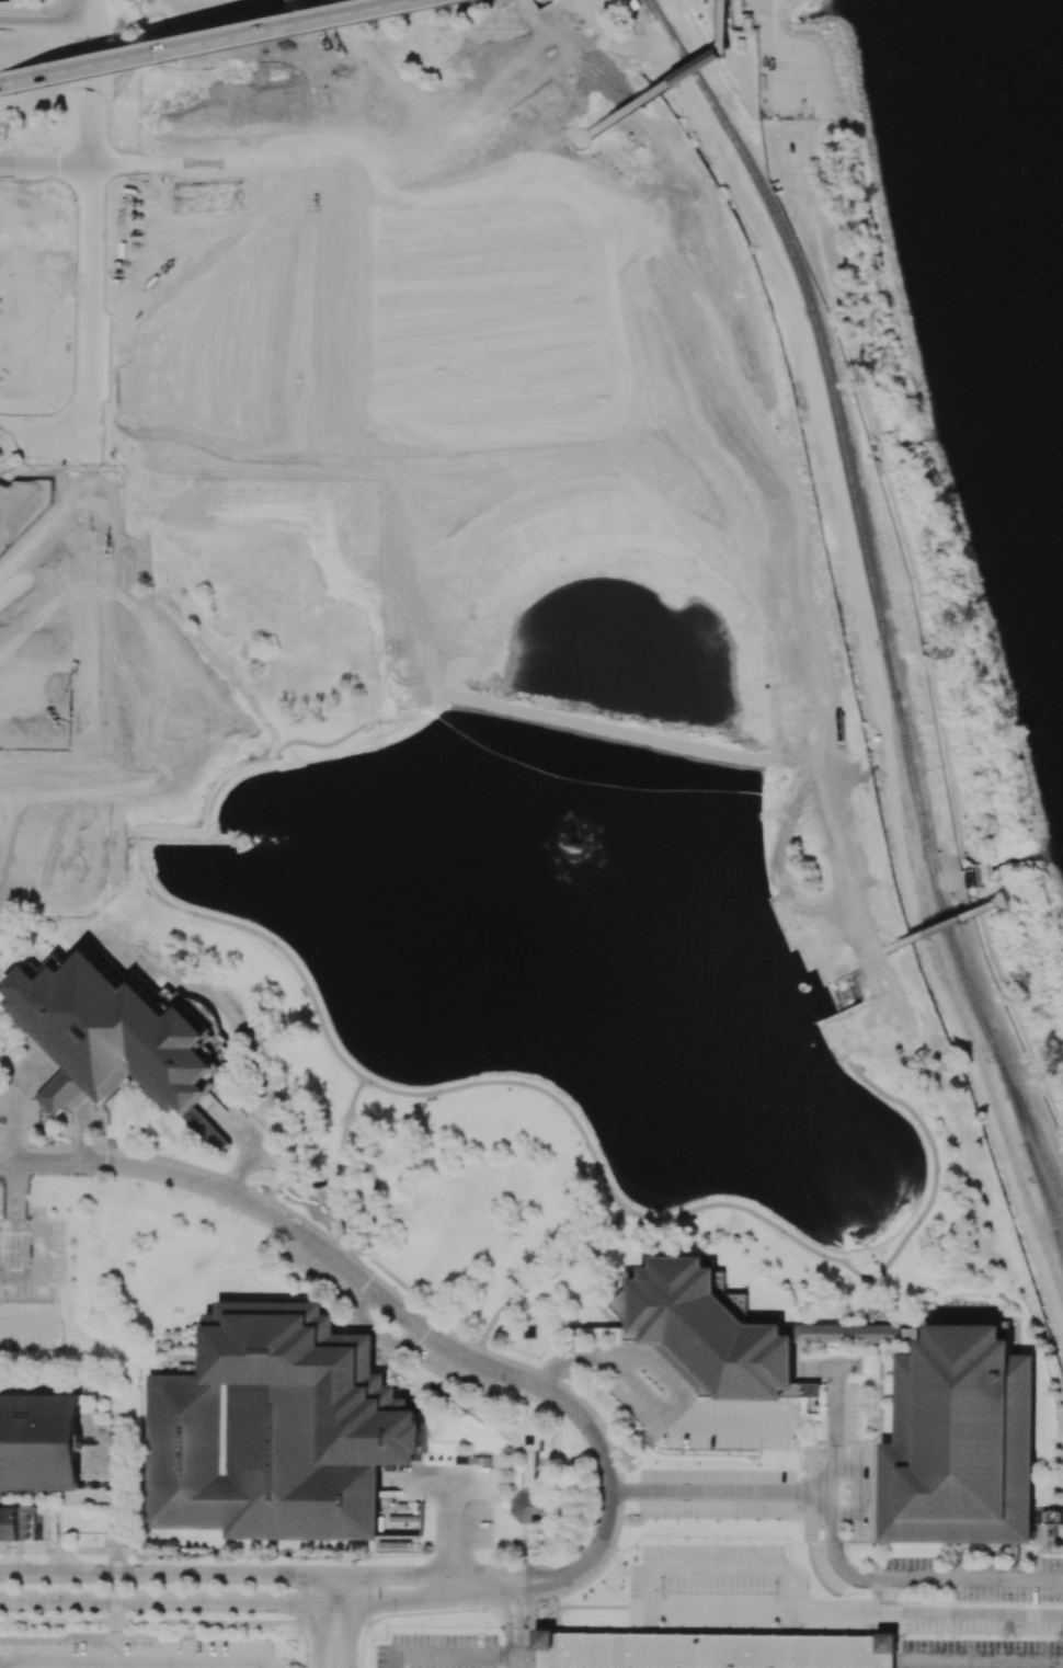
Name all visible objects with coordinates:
road: (175, 1)
street lamp: (468, 3)
parking lot: (152, 8)
parking lot: (217, 10)
railway: (653, 11)
road: (42, 14)
building: (750, 20)
road: (727, 24)
road: (570, 25)
street lamp: (307, 35)
road: (214, 42)
road: (87, 43)
railway: (674, 44)
road: (636, 45)
road: (725, 49)
park: (776, 58)
street lamp: (165, 64)
building: (700, 65)
road: (700, 65)
railway: (690, 70)
street lamp: (46, 92)
road: (632, 107)
building: (382, 117)
road: (92, 124)
road: (585, 130)
road: (575, 132)
road: (573, 137)
road: (583, 148)
road: (47, 162)
road: (94, 170)
building: (33, 238)
road: (94, 239)
park: (55, 295)
road: (94, 334)
railway: (821, 345)
road: (35, 409)
building: (7, 499)
building: (10, 537)
building: (78, 692)
railway: (904, 746)
road: (833, 822)
fountain: (573, 846)
road: (782, 890)
road: (869, 919)
road: (856, 926)
road: (946, 926)
road: (265, 936)
railway: (953, 953)
road: (875, 957)
railway: (948, 976)
road: (875, 984)
road: (858, 1012)
road: (834, 1017)
road: (882, 1018)
building: (113, 1033)
road: (835, 1043)
parking lot: (14, 1081)
road: (525, 1083)
road: (64, 1089)
road: (355, 1092)
building: (60, 1093)
road: (16, 1098)
road: (24, 1121)
road: (235, 1122)
parking lot: (93, 1124)
railway: (1029, 1124)
road: (82, 1131)
road: (339, 1143)
road: (11, 1149)
railway: (1030, 1151)
road: (271, 1159)
road: (936, 1159)
road: (190, 1167)
road: (241, 1169)
road: (282, 1180)
railway: (1044, 1180)
road: (373, 1185)
road: (4, 1193)
road: (15, 1196)
road: (319, 1203)
road: (755, 1213)
road: (336, 1225)
road: (8, 1230)
road: (606, 1235)
railway: (1062, 1248)
road: (343, 1252)
parking lot: (32, 1254)
road: (44, 1259)
parking lot: (318, 1263)
road: (521, 1292)
road: (595, 1293)
road: (410, 1305)
road: (904, 1307)
road: (25, 1324)
parking lot: (27, 1324)
road: (422, 1330)
building: (529, 1330)
building: (712, 1333)
building: (867, 1333)
road: (376, 1334)
road: (585, 1348)
road: (652, 1358)
road: (506, 1360)
parking lot: (459, 1366)
road: (816, 1366)
road: (846, 1366)
road: (559, 1367)
building: (318, 1375)
road: (636, 1389)
building: (449, 1397)
parking lot: (654, 1406)
road: (834, 1417)
road: (881, 1418)
road: (601, 1427)
building: (529, 1439)
building: (41, 1440)
building: (967, 1440)
building: (94, 1453)
building: (460, 1459)
building: (252, 1462)
road: (820, 1478)
road: (428, 1483)
parking lot: (837, 1493)
road: (862, 1493)
road: (707, 1494)
building: (530, 1506)
road: (641, 1509)
road: (819, 1509)
building: (1052, 1518)
building: (12, 1522)
road: (452, 1534)
road: (875, 1553)
street lamp: (245, 1561)
road: (529, 1561)
road: (992, 1561)
street lamp: (343, 1563)
street lamp: (412, 1563)
road: (159, 1573)
road: (334, 1574)
road: (401, 1575)
road: (960, 1576)
road: (717, 1577)
parking lot: (718, 1578)
road: (871, 1578)
road: (1027, 1579)
parking lot: (975, 1580)
road: (174, 1601)
road: (402, 1602)
road: (505, 1603)
road: (594, 1606)
street lamp: (475, 1607)
road: (830, 1610)
street lamp: (393, 1611)
road: (402, 1614)
road: (529, 1614)
road: (983, 1614)
street lamp: (288, 1615)
road: (644, 1618)
road: (787, 1618)
road: (512, 1620)
road: (319, 1621)
road: (348, 1621)
road: (539, 1624)
road: (883, 1624)
road: (549, 1625)
road: (892, 1625)
parking lot: (980, 1636)
road: (529, 1641)
parking lot: (437, 1650)
building: (716, 1650)
parking lot: (716, 1650)
parking lot: (139, 1655)
road: (447, 1655)
road: (709, 1655)
road: (527, 1656)
road: (880, 1658)
road: (513, 1661)
road: (133, 1664)
road: (980, 1664)
street lamp: (308, 1665)
street lamp: (358, 1665)

